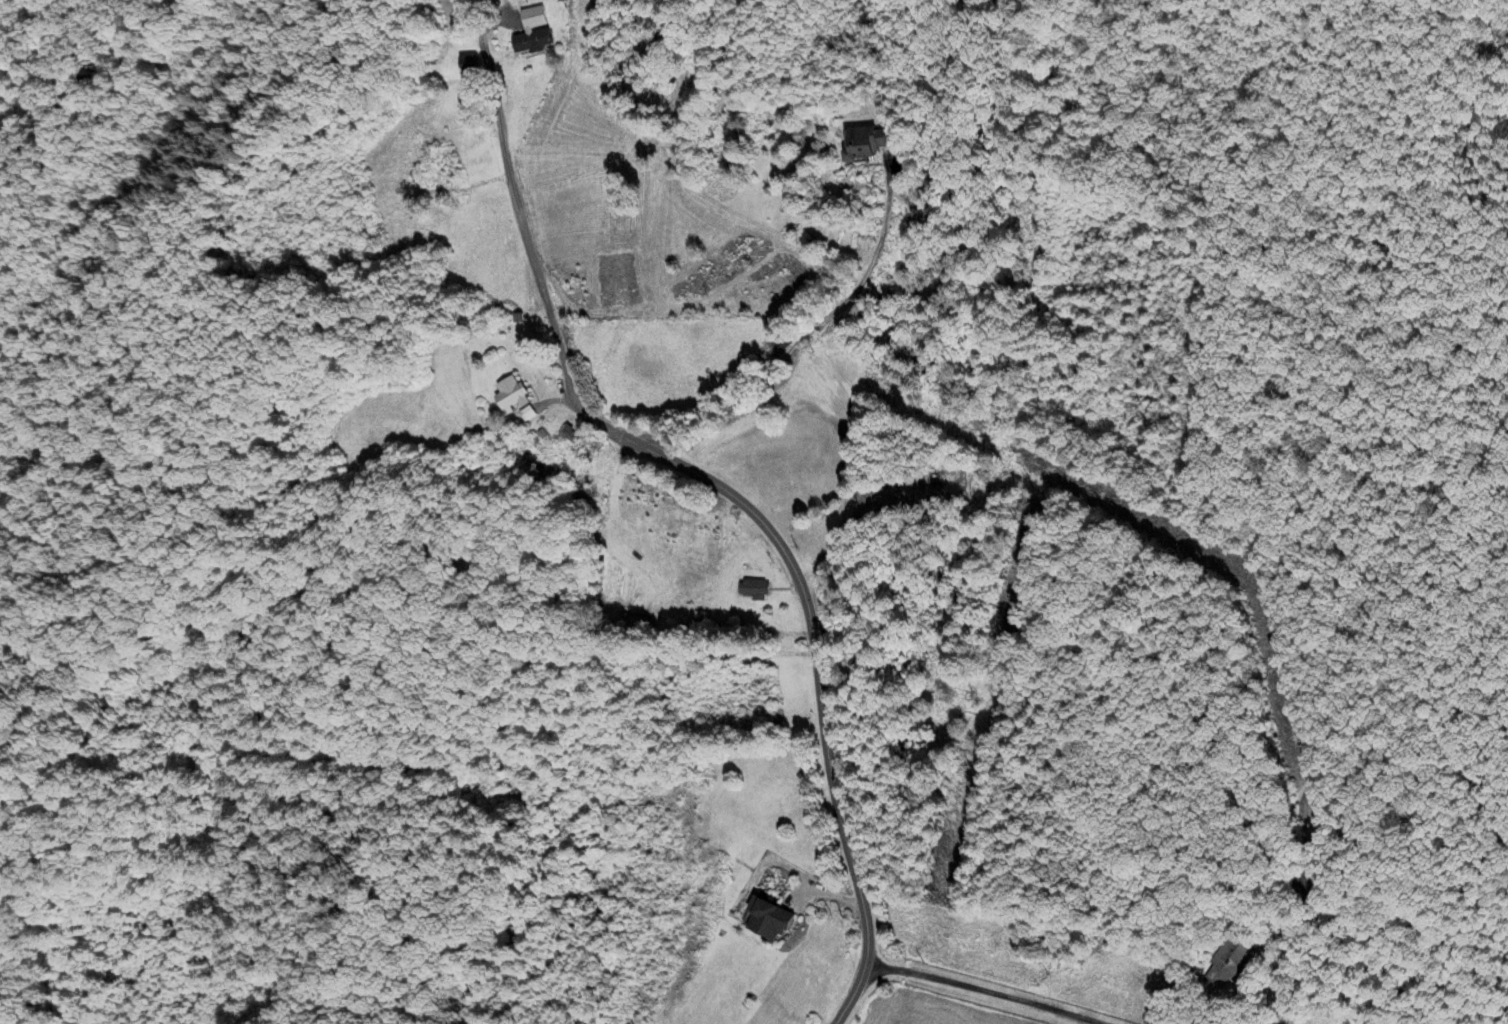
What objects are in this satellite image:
building: (538, 33)
building: (470, 65)
building: (871, 144)
road: (518, 202)
building: (513, 397)
building: (528, 414)
building: (572, 441)
building: (754, 591)
road: (814, 660)
building: (771, 920)
building: (1231, 963)
road: (987, 991)

